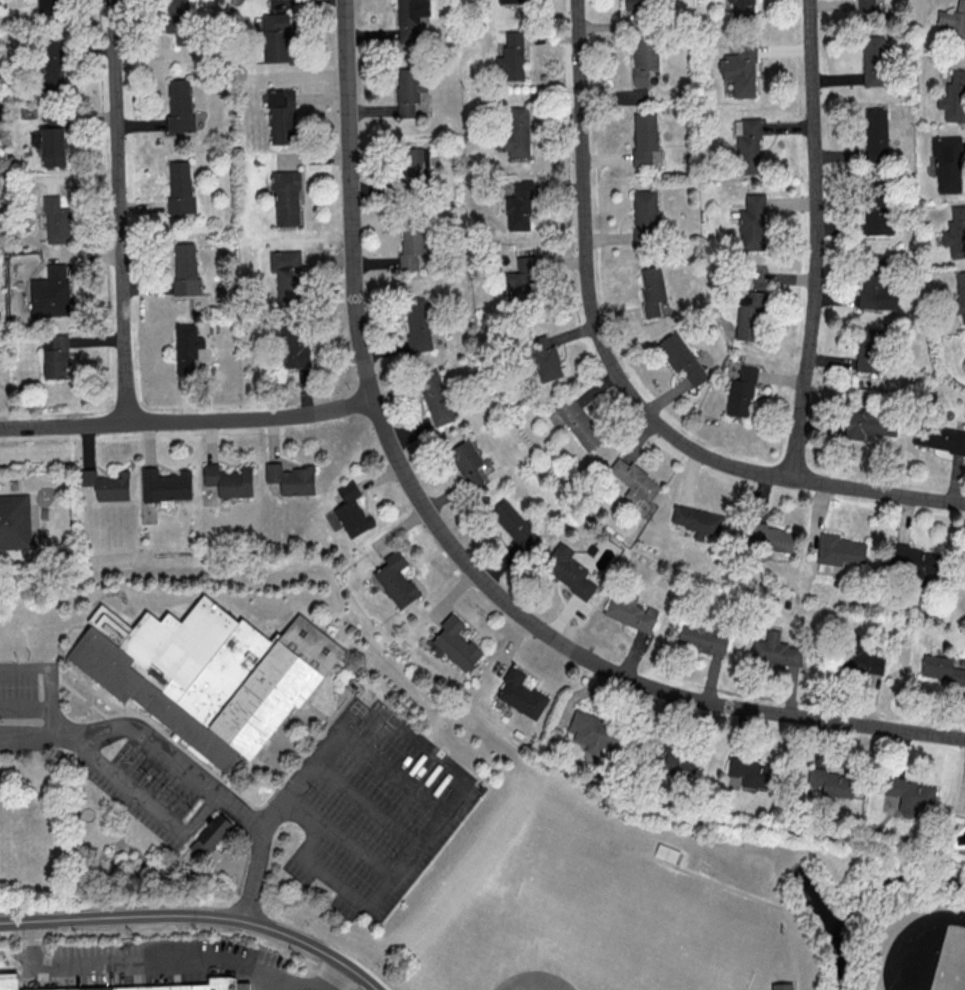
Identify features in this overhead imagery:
building: (636, 4)
building: (50, 6)
building: (280, 6)
building: (866, 6)
building: (743, 9)
building: (410, 19)
building: (179, 21)
building: (954, 25)
building: (277, 36)
building: (512, 56)
building: (644, 57)
building: (873, 60)
building: (50, 65)
building: (740, 70)
building: (409, 89)
building: (954, 97)
building: (182, 107)
building: (281, 115)
building: (515, 130)
building: (876, 134)
building: (644, 137)
building: (56, 143)
building: (747, 145)
building: (947, 164)
building: (415, 171)
building: (182, 185)
building: (287, 196)
building: (518, 207)
road: (120, 211)
building: (645, 216)
building: (878, 216)
building: (58, 218)
building: (752, 223)
building: (955, 232)
road: (818, 239)
building: (412, 248)
building: (185, 269)
building: (288, 274)
building: (522, 280)
building: (652, 289)
building: (879, 290)
building: (51, 291)
building: (960, 295)
building: (749, 316)
building: (418, 323)
building: (188, 347)
building: (293, 349)
building: (869, 349)
building: (54, 355)
building: (681, 357)
building: (544, 358)
road: (619, 377)
building: (741, 392)
building: (436, 397)
road: (187, 420)
building: (579, 424)
building: (869, 424)
building: (939, 438)
building: (467, 462)
building: (291, 478)
building: (229, 480)
building: (634, 480)
building: (106, 484)
building: (165, 484)
building: (351, 511)
building: (697, 519)
building: (15, 523)
building: (514, 524)
building: (775, 536)
road: (451, 544)
building: (838, 551)
building: (913, 560)
building: (568, 570)
building: (395, 579)
building: (631, 612)
building: (702, 639)
building: (456, 643)
building: (775, 650)
building: (860, 659)
building: (941, 668)
road: (51, 674)
building: (205, 674)
building: (521, 694)
road: (27, 711)
building: (594, 733)
building: (677, 761)
road: (184, 768)
road: (397, 772)
building: (751, 772)
building: (832, 782)
building: (912, 797)
road: (144, 798)
road: (452, 803)
road: (370, 806)
building: (211, 835)
road: (360, 853)
building: (665, 856)
road: (768, 905)
road: (197, 916)
park: (626, 929)
park: (559, 954)
park: (928, 954)
road: (148, 961)
parking lot: (175, 964)
park: (953, 964)
road: (333, 977)
building: (9, 982)
building: (182, 986)
road: (331, 987)
building: (782, 987)

